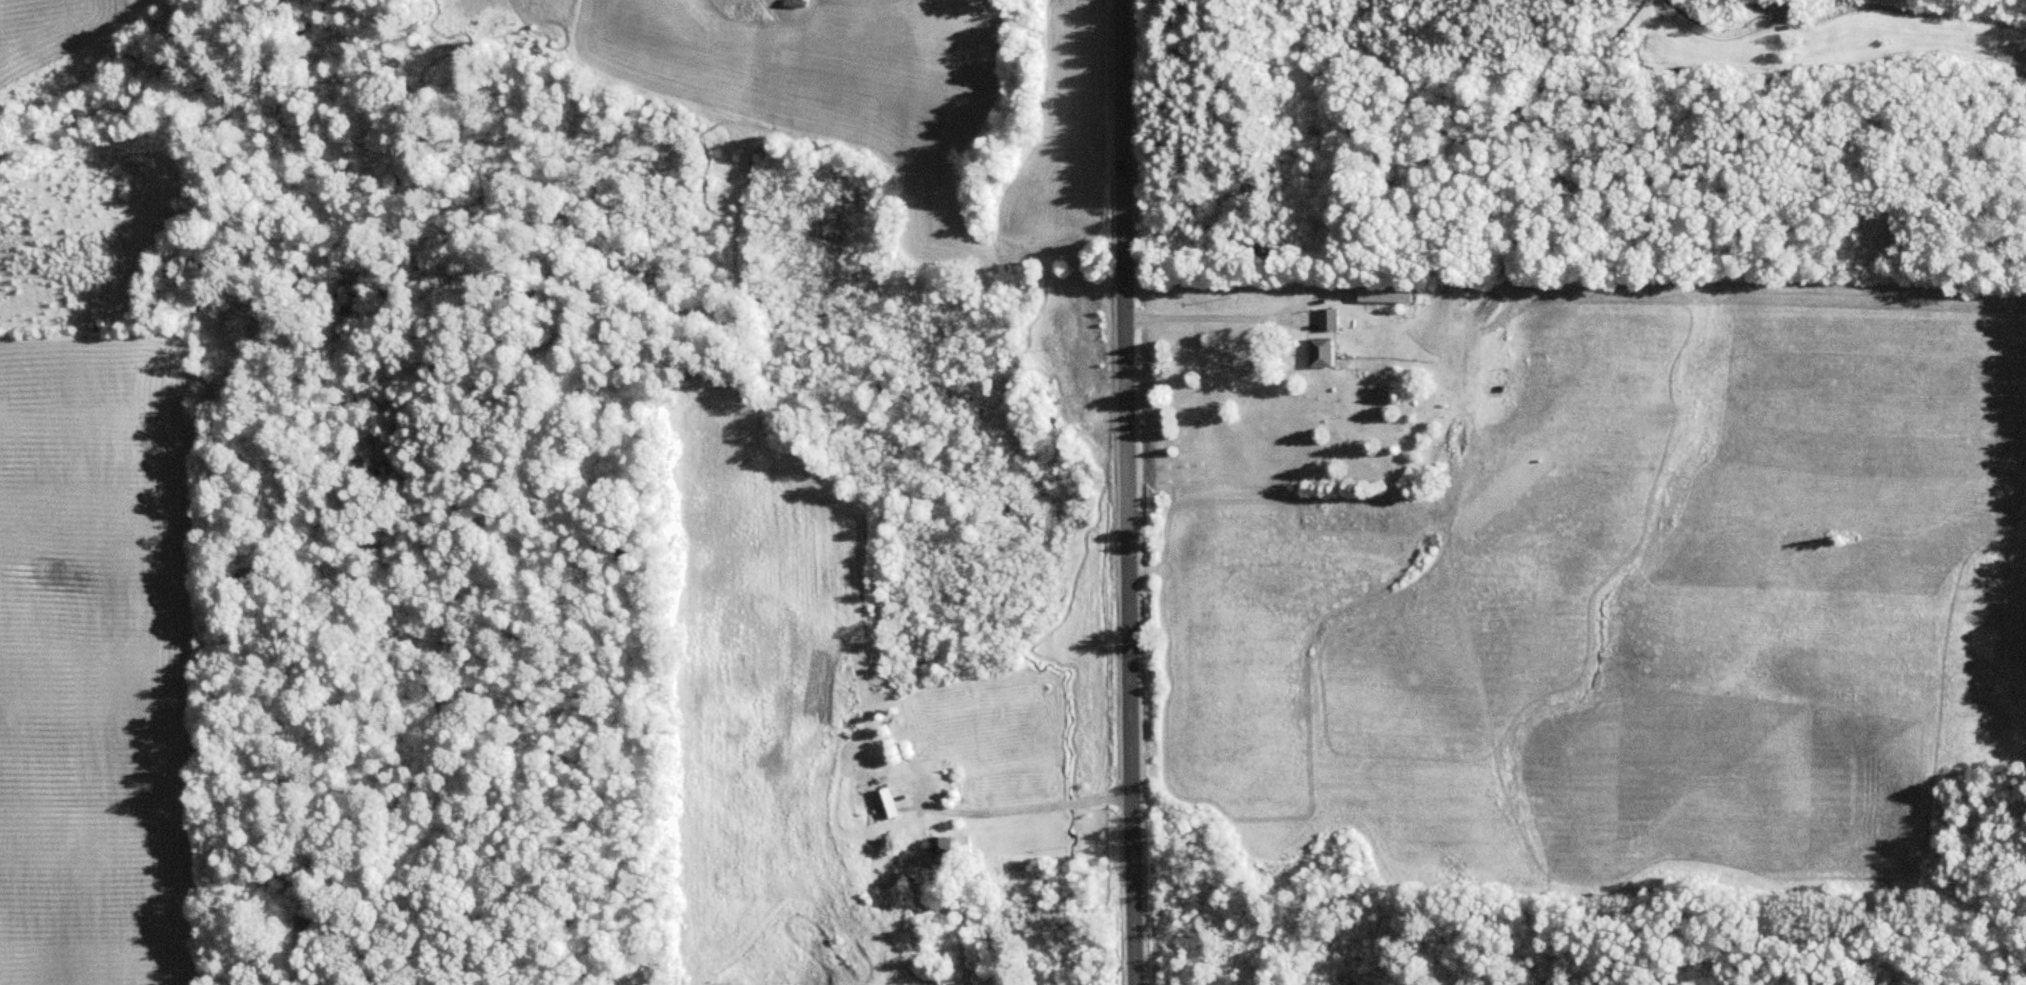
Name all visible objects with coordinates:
building: (1369, 296)
building: (1322, 320)
building: (1315, 353)
road: (1136, 492)
crop: (92, 672)
building: (887, 805)
building: (940, 851)

